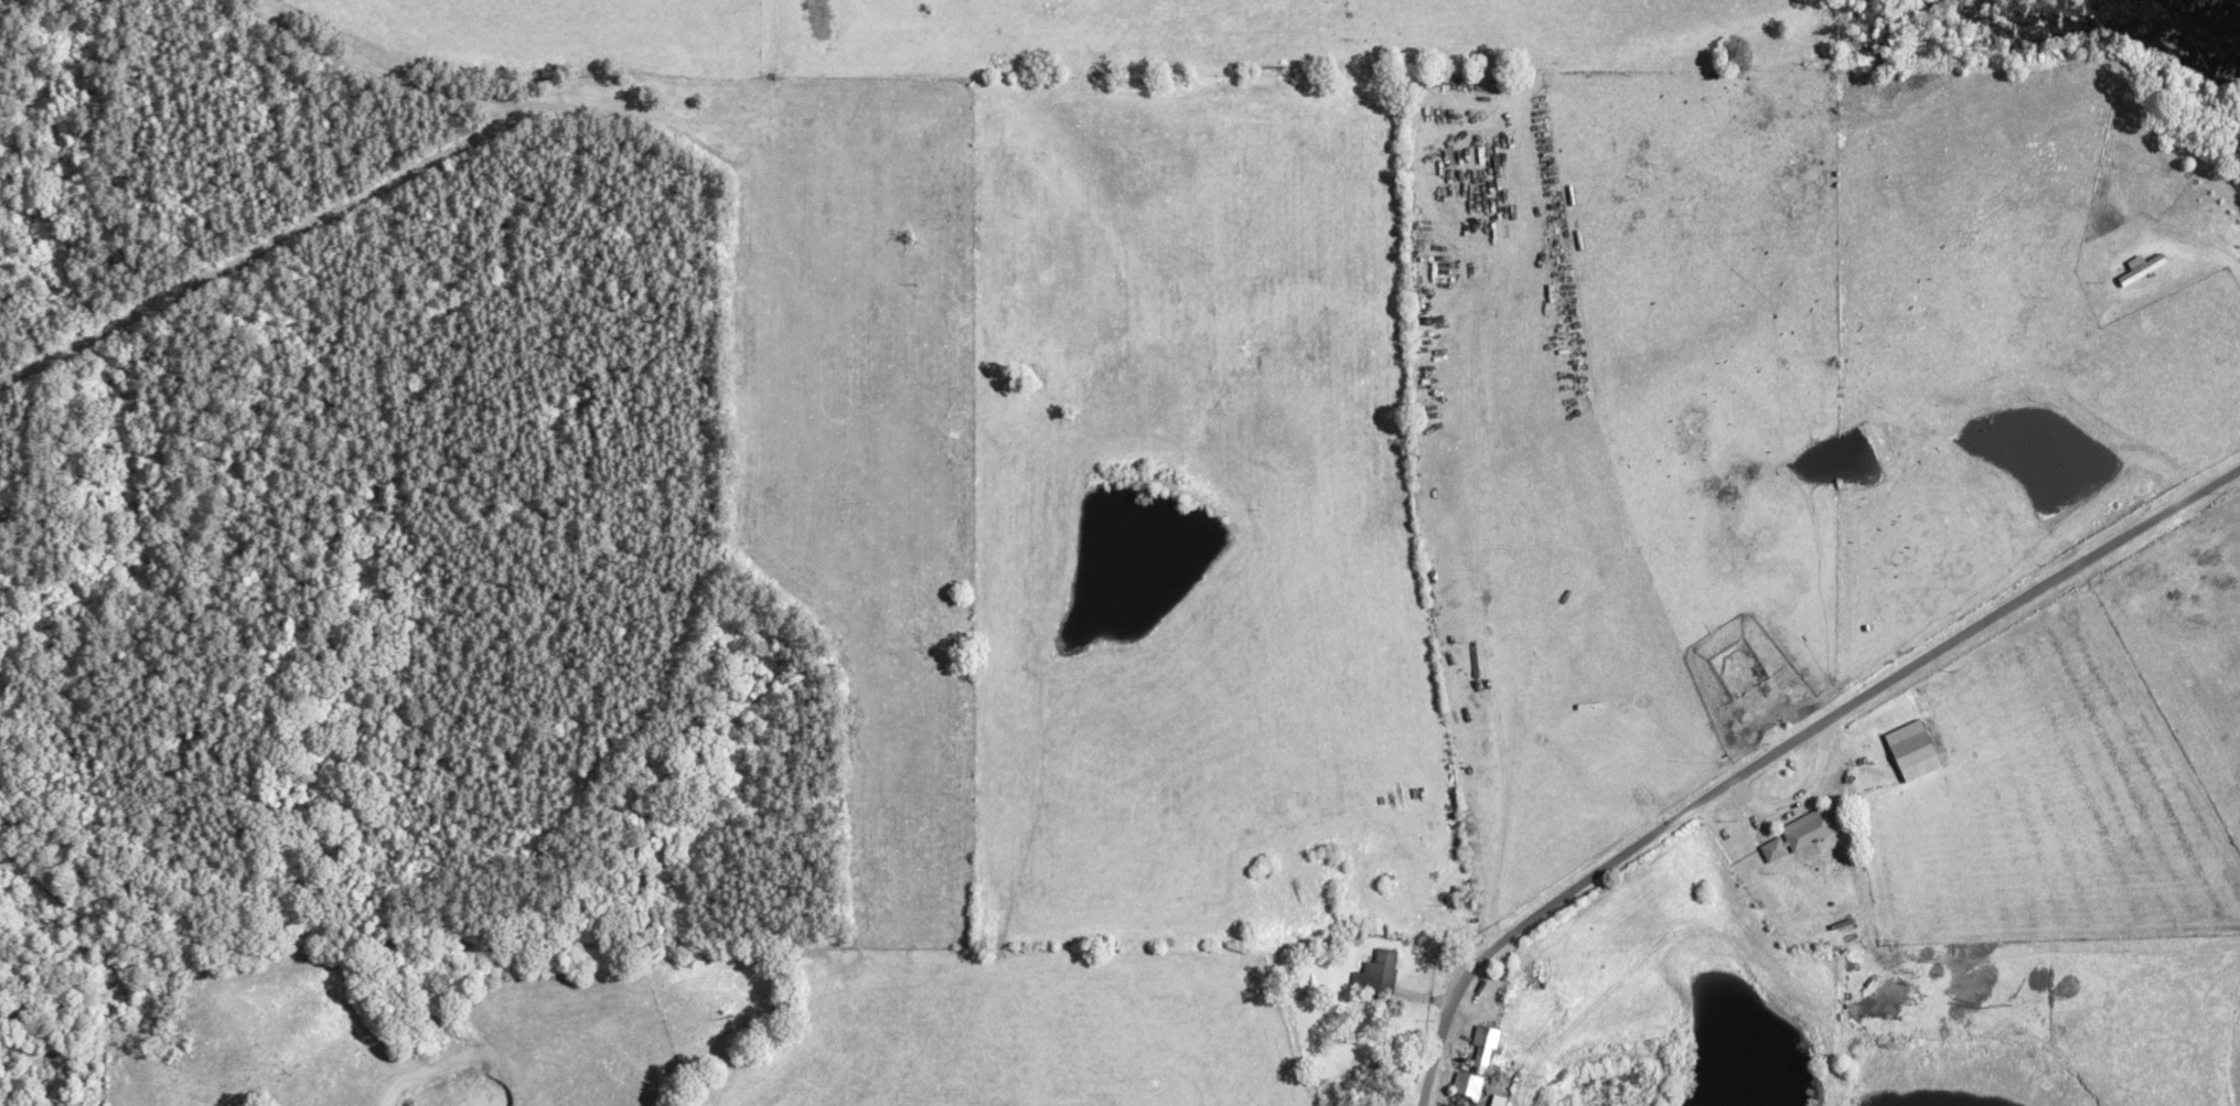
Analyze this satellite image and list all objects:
road: (1786, 748)
building: (1908, 750)
building: (1796, 834)
building: (1374, 974)
building: (1480, 1045)
building: (1464, 1085)

